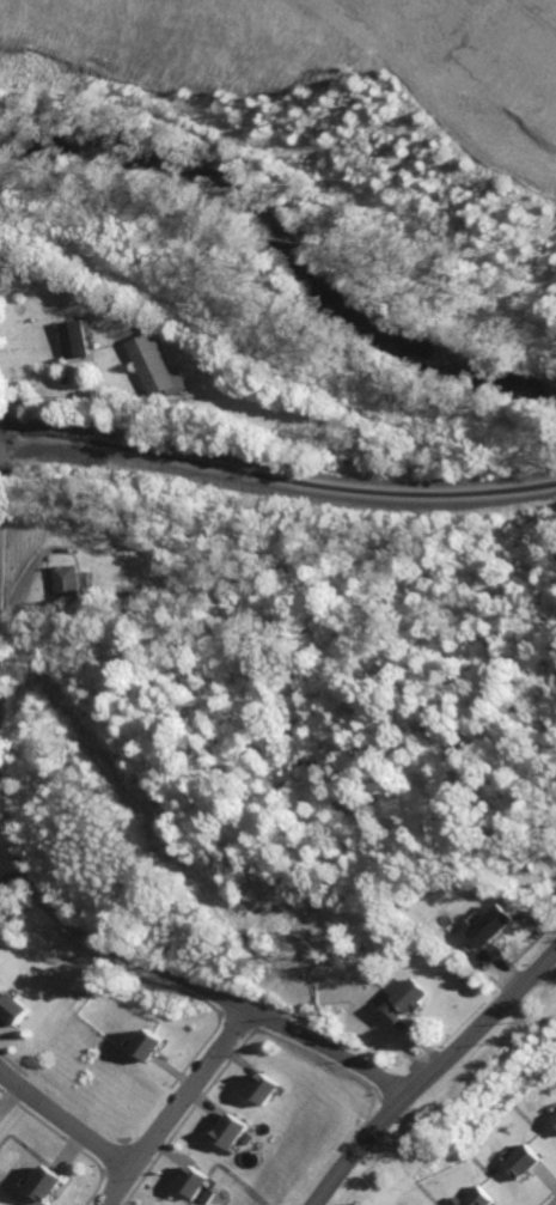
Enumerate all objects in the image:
road: (67, 291)
building: (78, 339)
building: (158, 367)
railway: (276, 479)
building: (68, 584)
building: (491, 924)
road: (148, 968)
building: (1, 979)
building: (18, 1000)
building: (402, 1003)
building: (152, 1036)
road: (428, 1072)
building: (265, 1082)
road: (173, 1107)
building: (551, 1116)
road: (65, 1119)
building: (227, 1128)
building: (520, 1162)
building: (195, 1174)
building: (49, 1186)
building: (475, 1197)
building: (154, 1204)

